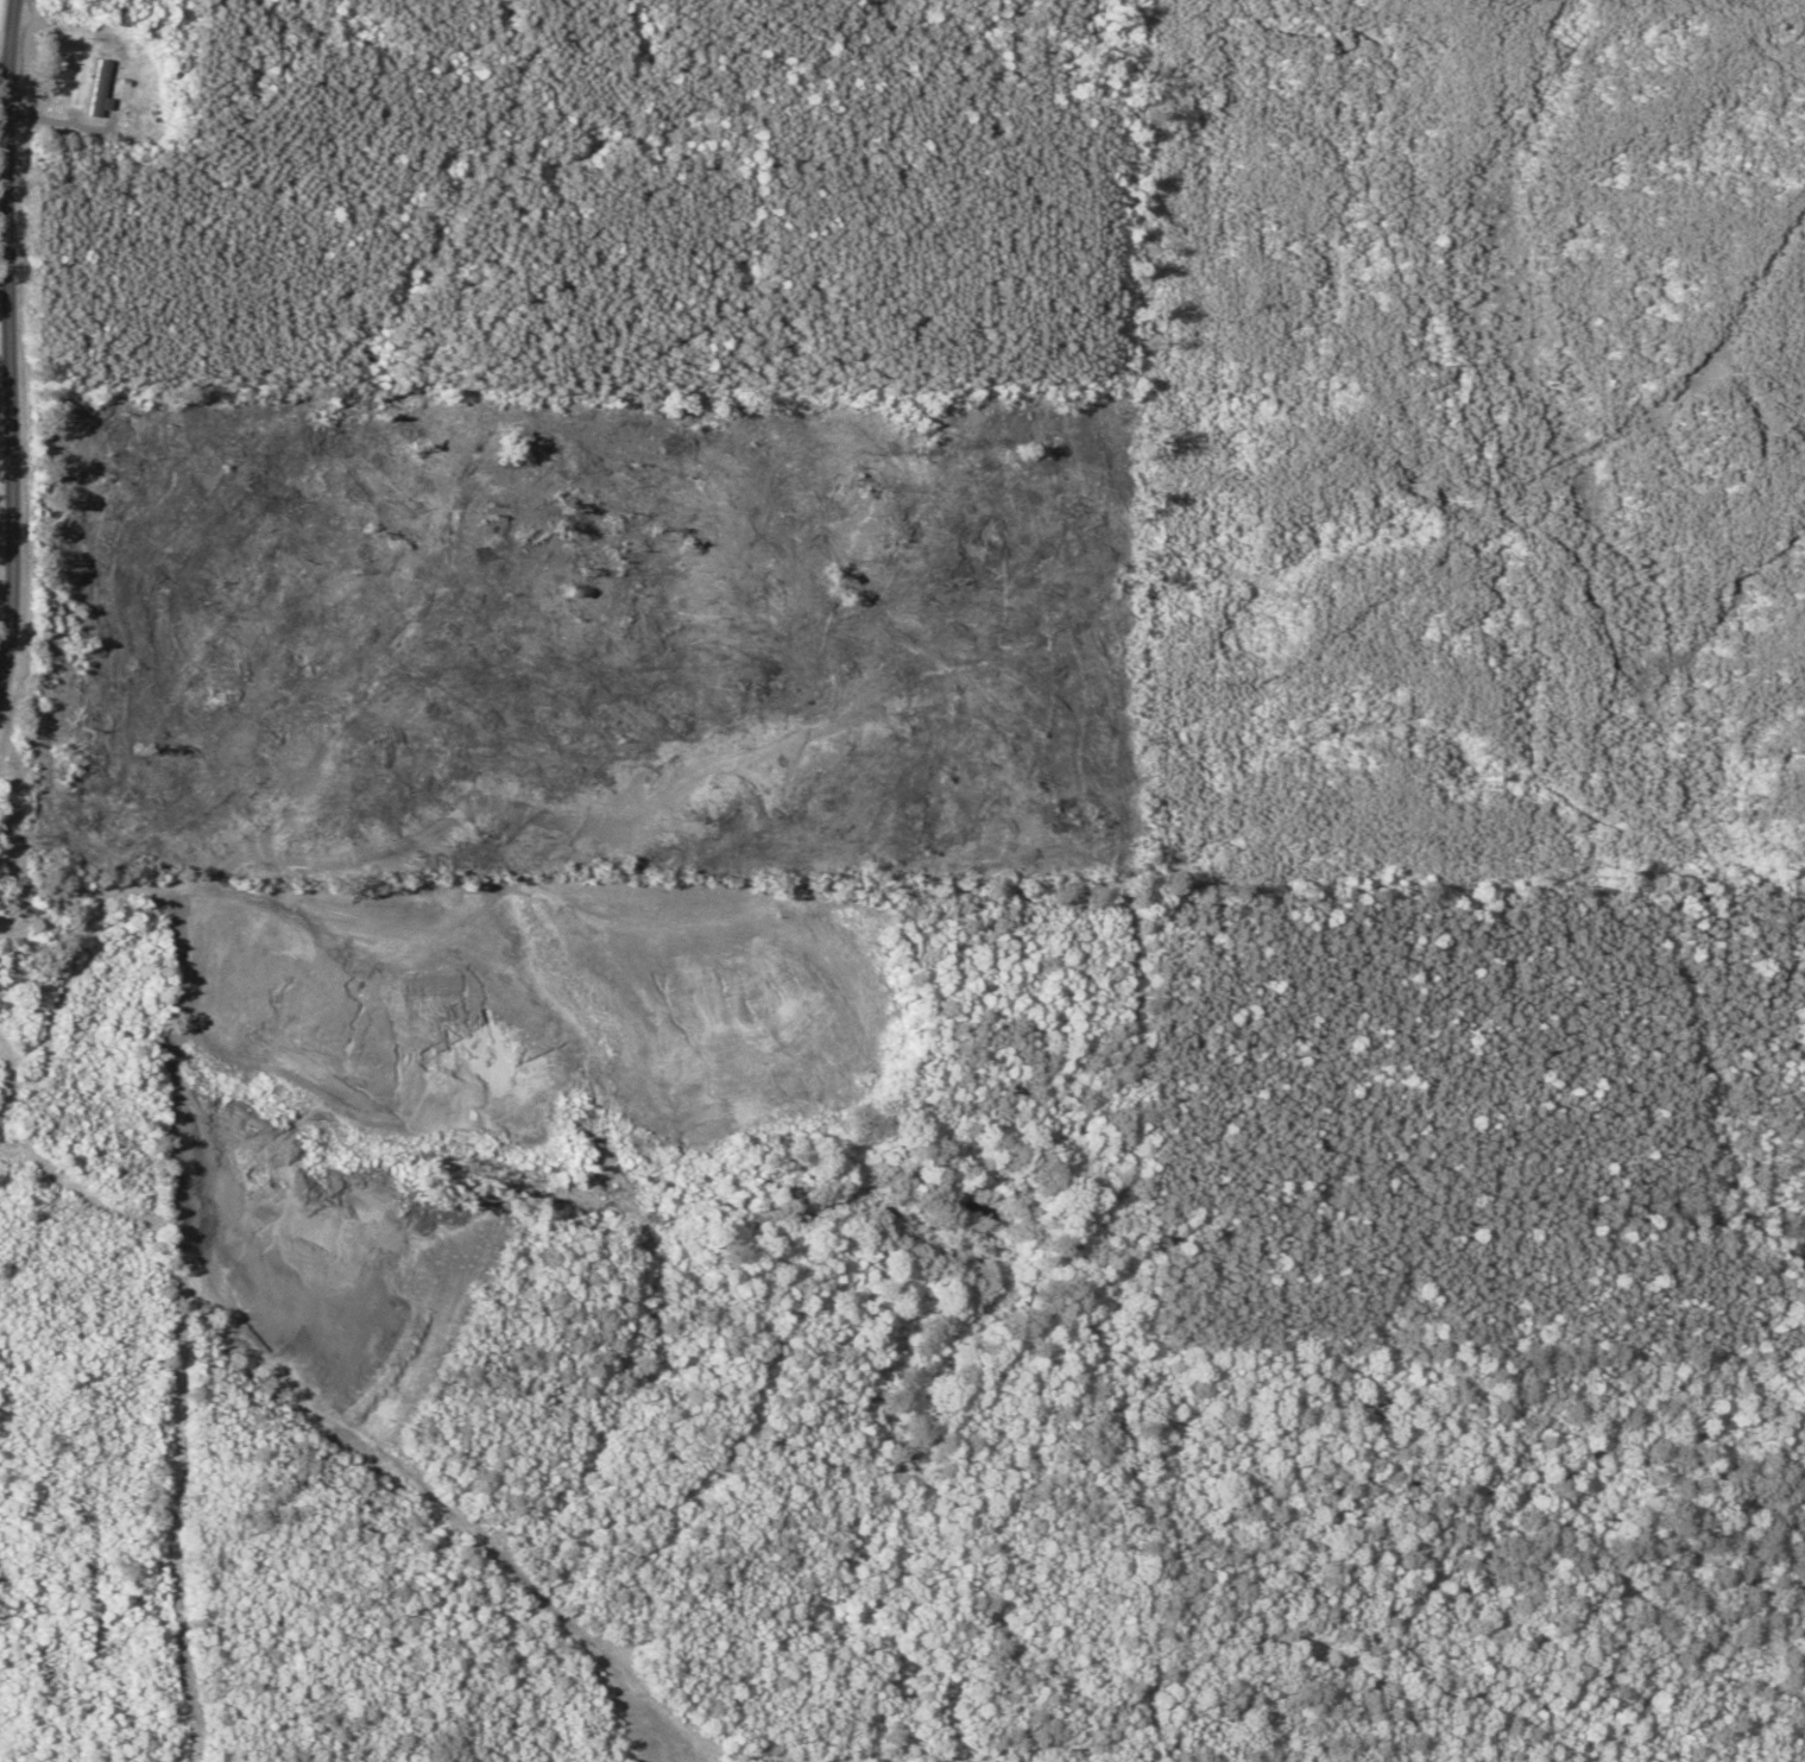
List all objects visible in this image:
road: (364, 391)

